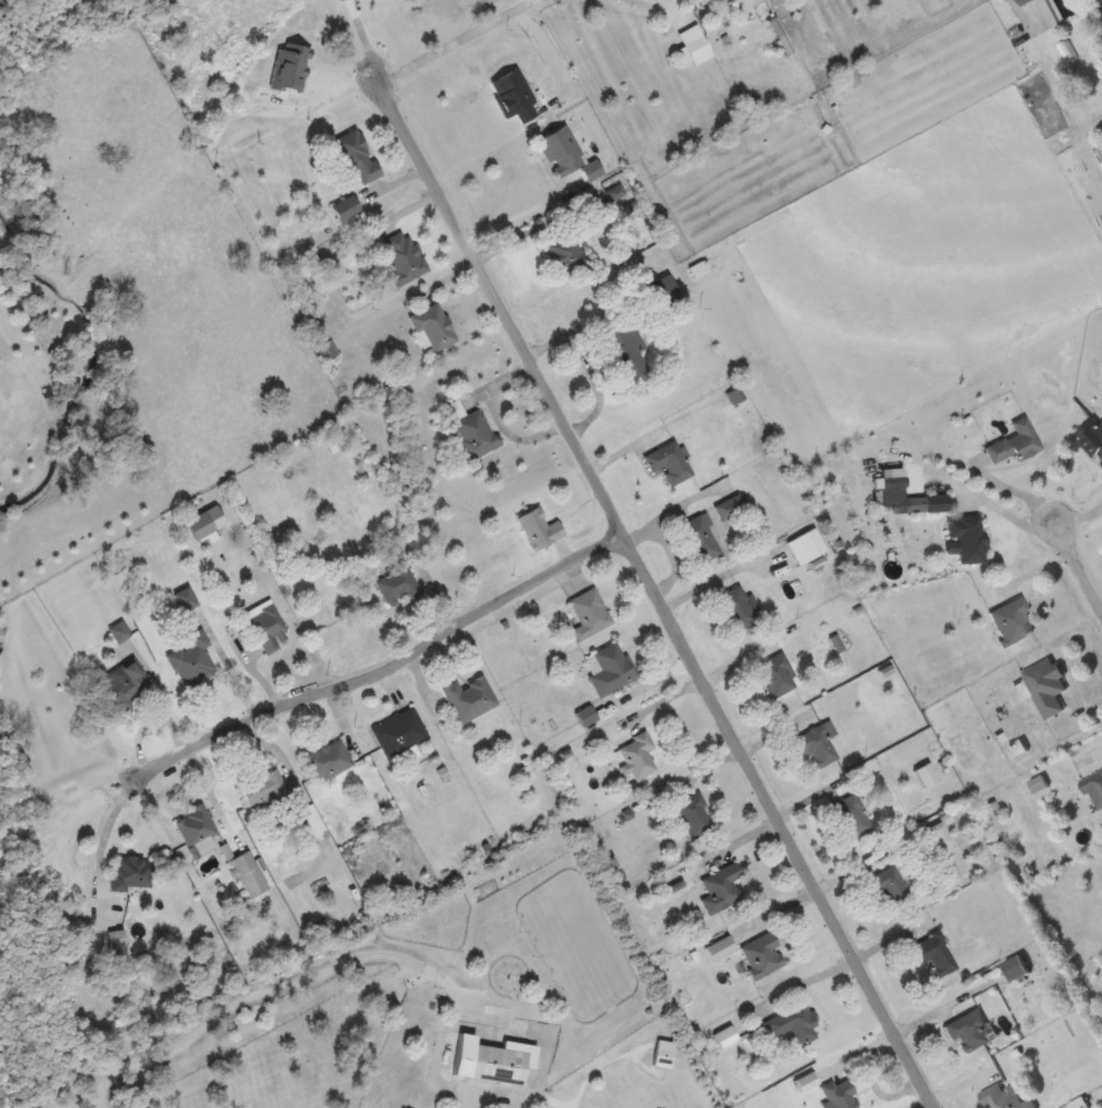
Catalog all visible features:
building: (704, 0)
building: (1025, 1)
road: (426, 29)
building: (696, 44)
building: (515, 96)
building: (562, 150)
building: (358, 157)
building: (347, 207)
building: (569, 249)
building: (405, 257)
building: (665, 289)
building: (434, 326)
building: (327, 350)
building: (626, 350)
building: (476, 434)
building: (1093, 435)
building: (1016, 443)
building: (669, 461)
building: (926, 503)
building: (731, 507)
building: (206, 523)
building: (540, 529)
building: (968, 536)
building: (700, 539)
building: (807, 546)
road: (1069, 561)
road: (645, 576)
building: (399, 584)
building: (187, 598)
building: (738, 608)
building: (590, 612)
building: (1013, 619)
building: (267, 626)
building: (193, 660)
building: (613, 669)
road: (372, 671)
building: (777, 674)
building: (127, 685)
building: (1045, 685)
building: (469, 697)
building: (1061, 728)
building: (400, 732)
building: (817, 743)
building: (638, 755)
building: (328, 759)
building: (1095, 788)
building: (264, 789)
building: (695, 814)
building: (852, 816)
building: (197, 825)
building: (134, 872)
building: (250, 874)
building: (891, 886)
building: (722, 887)
building: (118, 940)
building: (934, 953)
building: (764, 956)
building: (1017, 968)
building: (794, 1024)
building: (971, 1032)
building: (490, 1061)
building: (839, 1095)
building: (1005, 1098)

